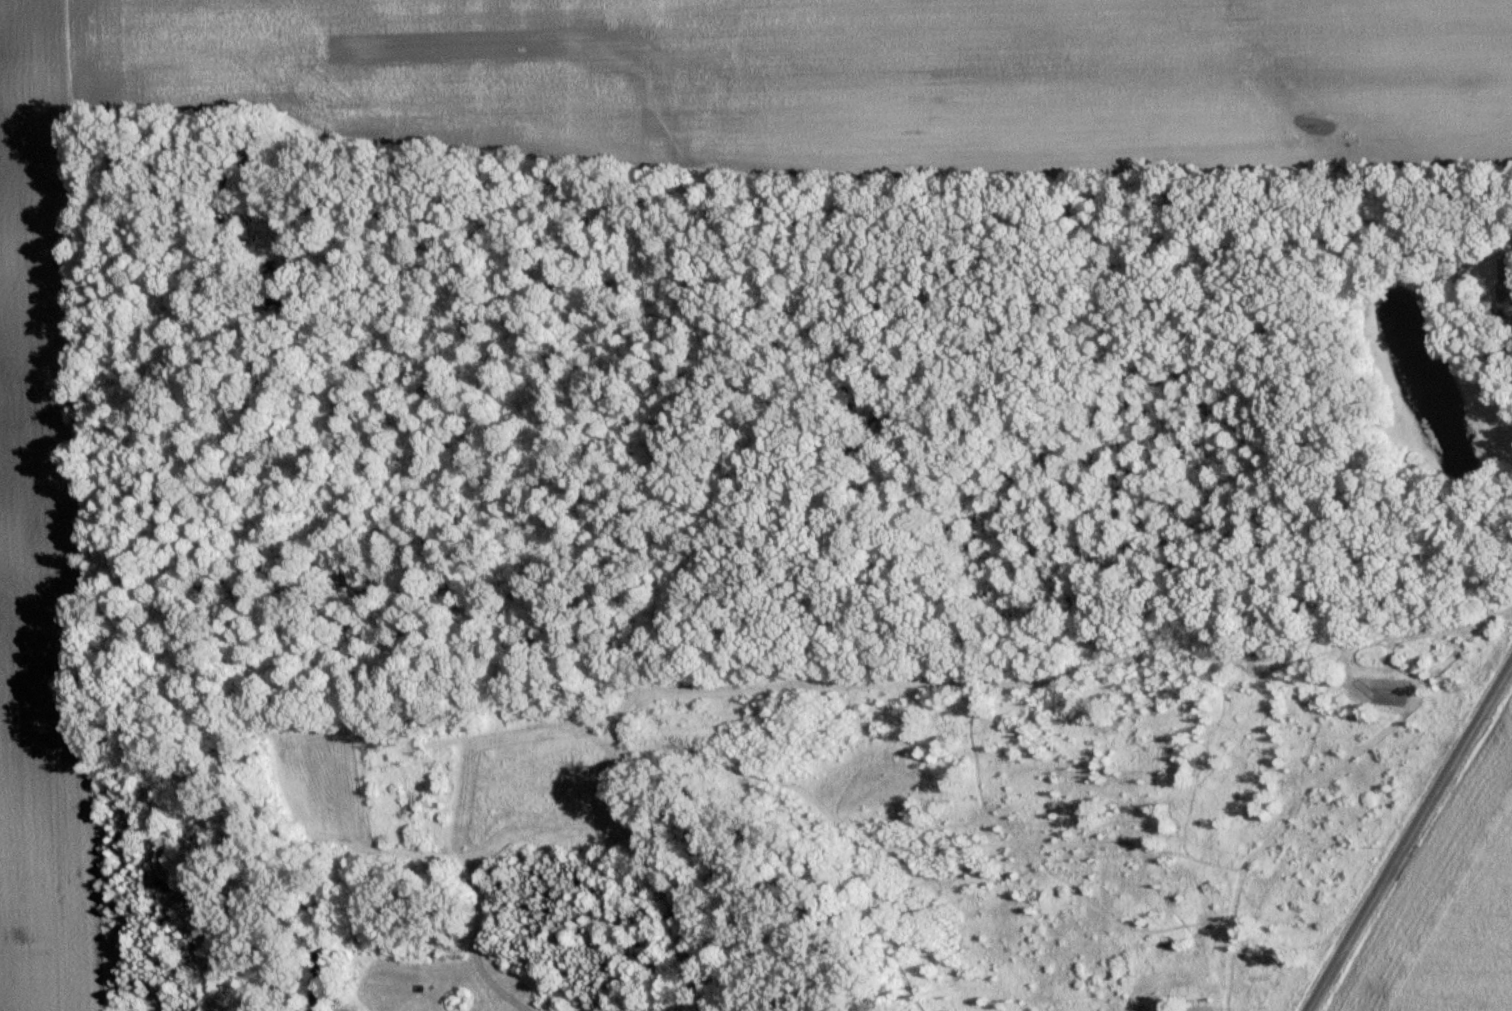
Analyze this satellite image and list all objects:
road: (1405, 832)

